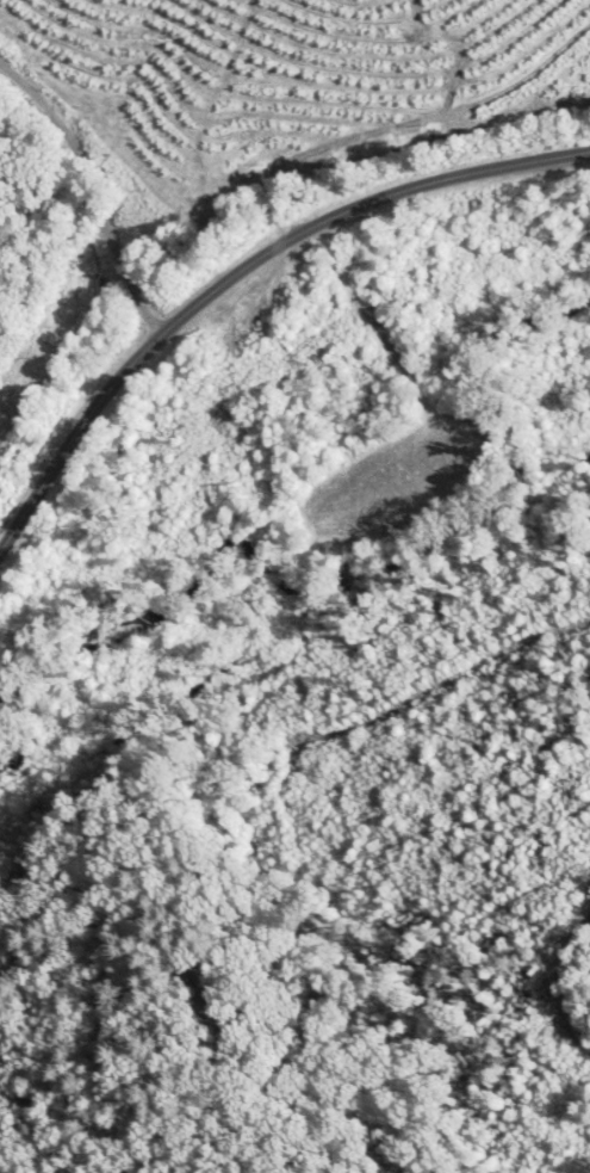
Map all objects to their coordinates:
road: (101, 177)
road: (240, 272)
river: (361, 574)

